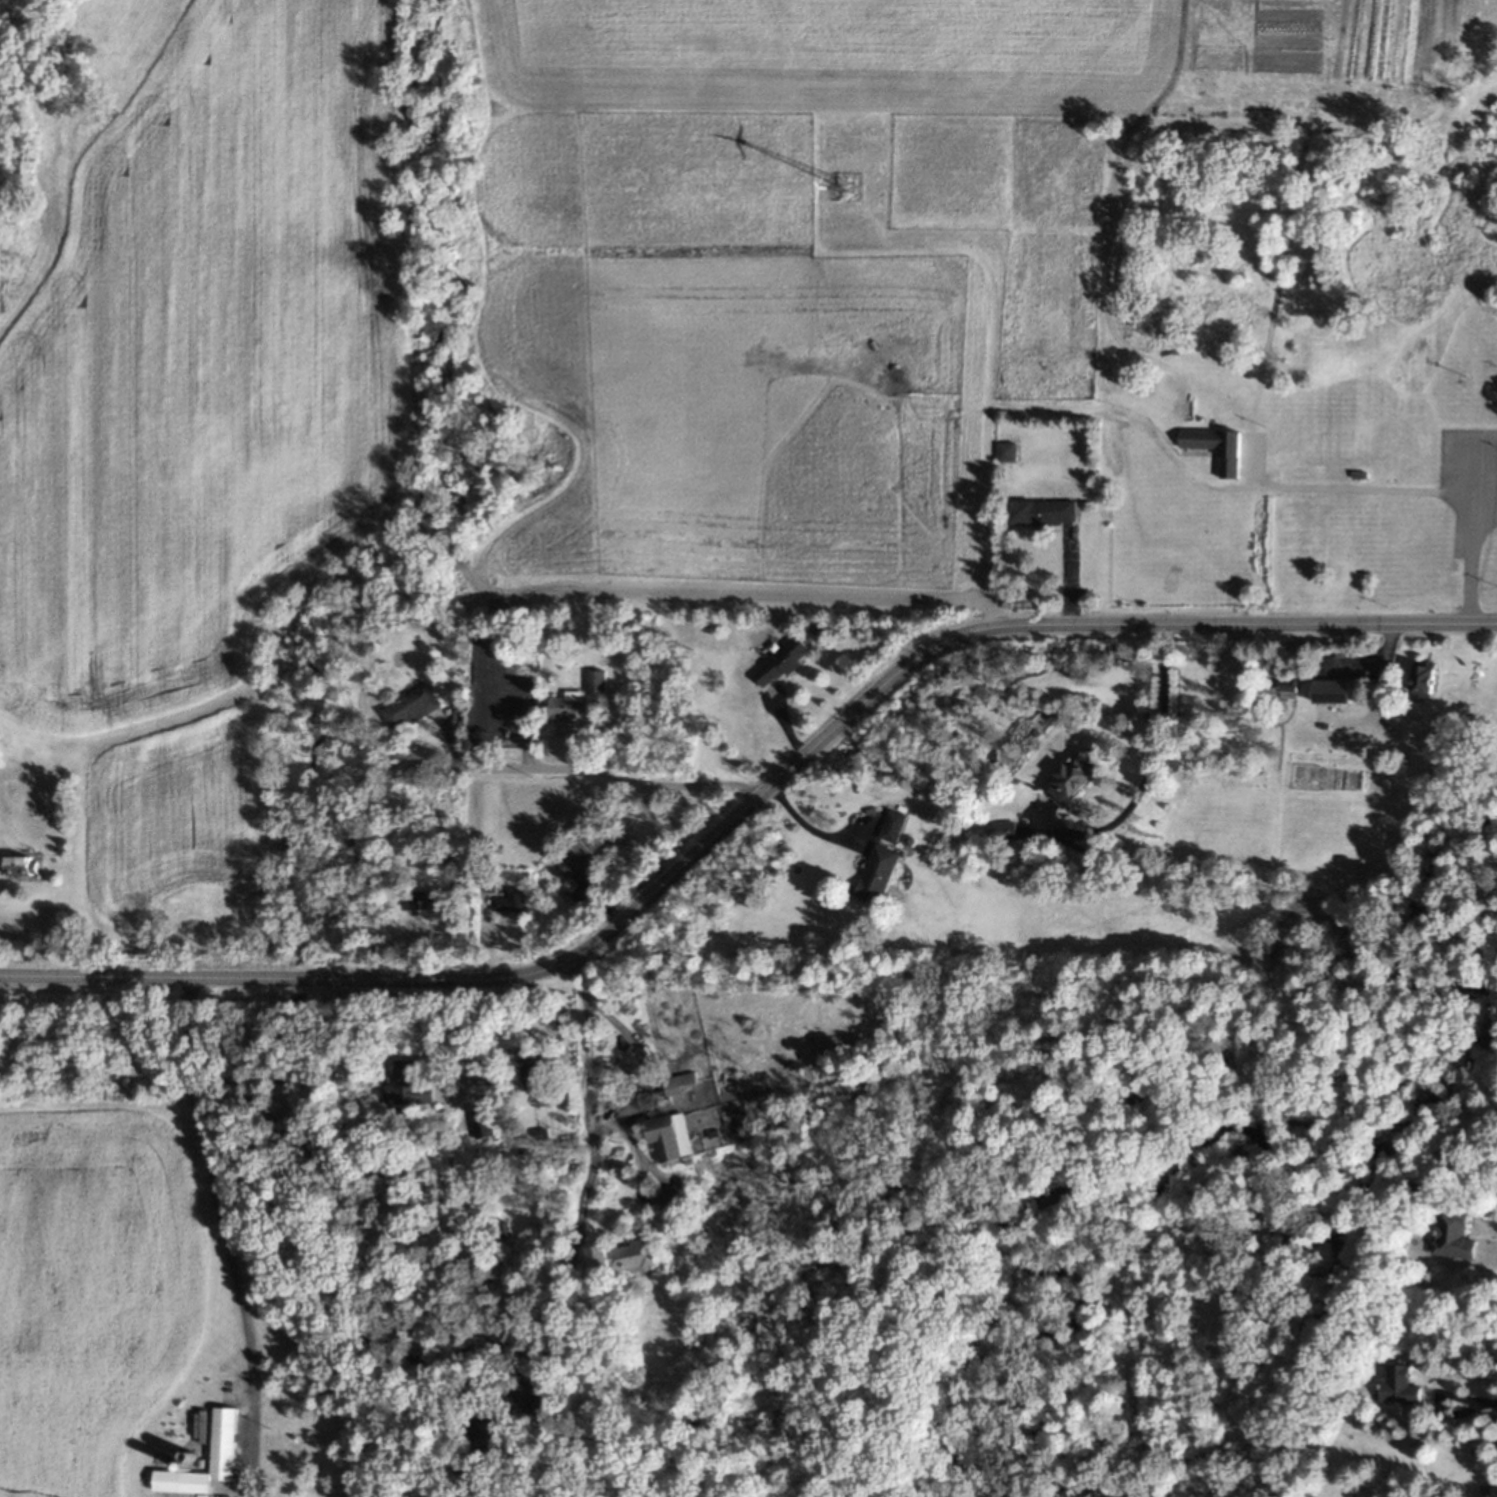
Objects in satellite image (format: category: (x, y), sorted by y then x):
crop: (204, 359)
building: (1211, 445)
building: (1001, 450)
building: (1355, 472)
road: (1354, 484)
building: (1038, 511)
road: (1470, 533)
building: (386, 619)
building: (584, 621)
road: (1267, 622)
road: (975, 627)
building: (779, 655)
building: (1421, 678)
building: (591, 679)
building: (522, 683)
building: (1286, 686)
building: (1327, 686)
building: (408, 703)
building: (564, 706)
building: (499, 707)
road: (584, 729)
road: (525, 730)
road: (450, 739)
road: (1145, 767)
road: (608, 775)
building: (1068, 776)
road: (756, 796)
building: (888, 823)
road: (807, 826)
crop: (181, 829)
building: (999, 830)
building: (904, 839)
building: (493, 848)
building: (578, 851)
building: (438, 858)
building: (17, 862)
building: (874, 872)
building: (486, 880)
building: (581, 880)
building: (422, 897)
building: (506, 903)
road: (204, 977)
road: (506, 977)
building: (535, 1073)
building: (673, 1079)
building: (406, 1082)
road: (631, 1103)
building: (480, 1118)
building: (542, 1127)
building: (663, 1132)
building: (710, 1133)
building: (679, 1187)
building: (591, 1194)
building: (504, 1226)
road: (225, 1236)
building: (1448, 1237)
building: (618, 1258)
crop: (94, 1291)
building: (225, 1385)
building: (1394, 1385)
building: (217, 1391)
building: (211, 1397)
road: (1482, 1401)
building: (198, 1425)
building: (183, 1454)
building: (200, 1461)
building: (178, 1464)

